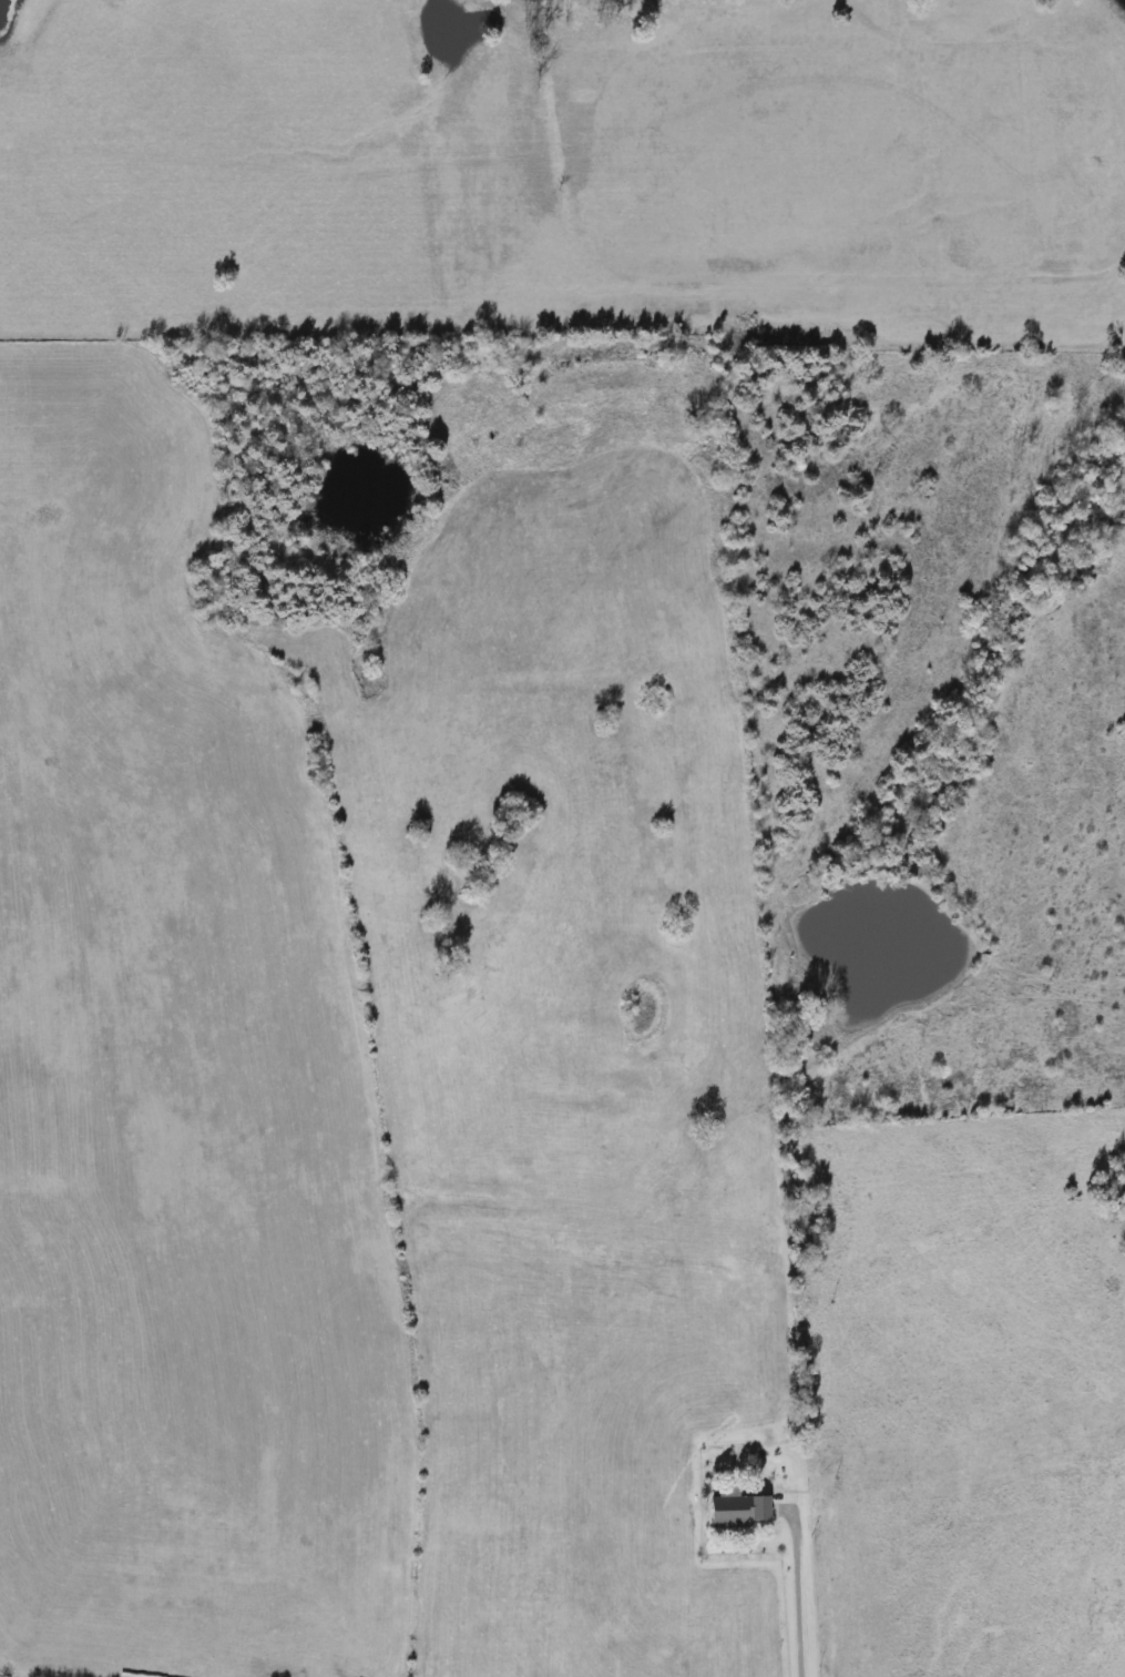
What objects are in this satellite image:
building: (734, 1512)
road: (789, 1595)

